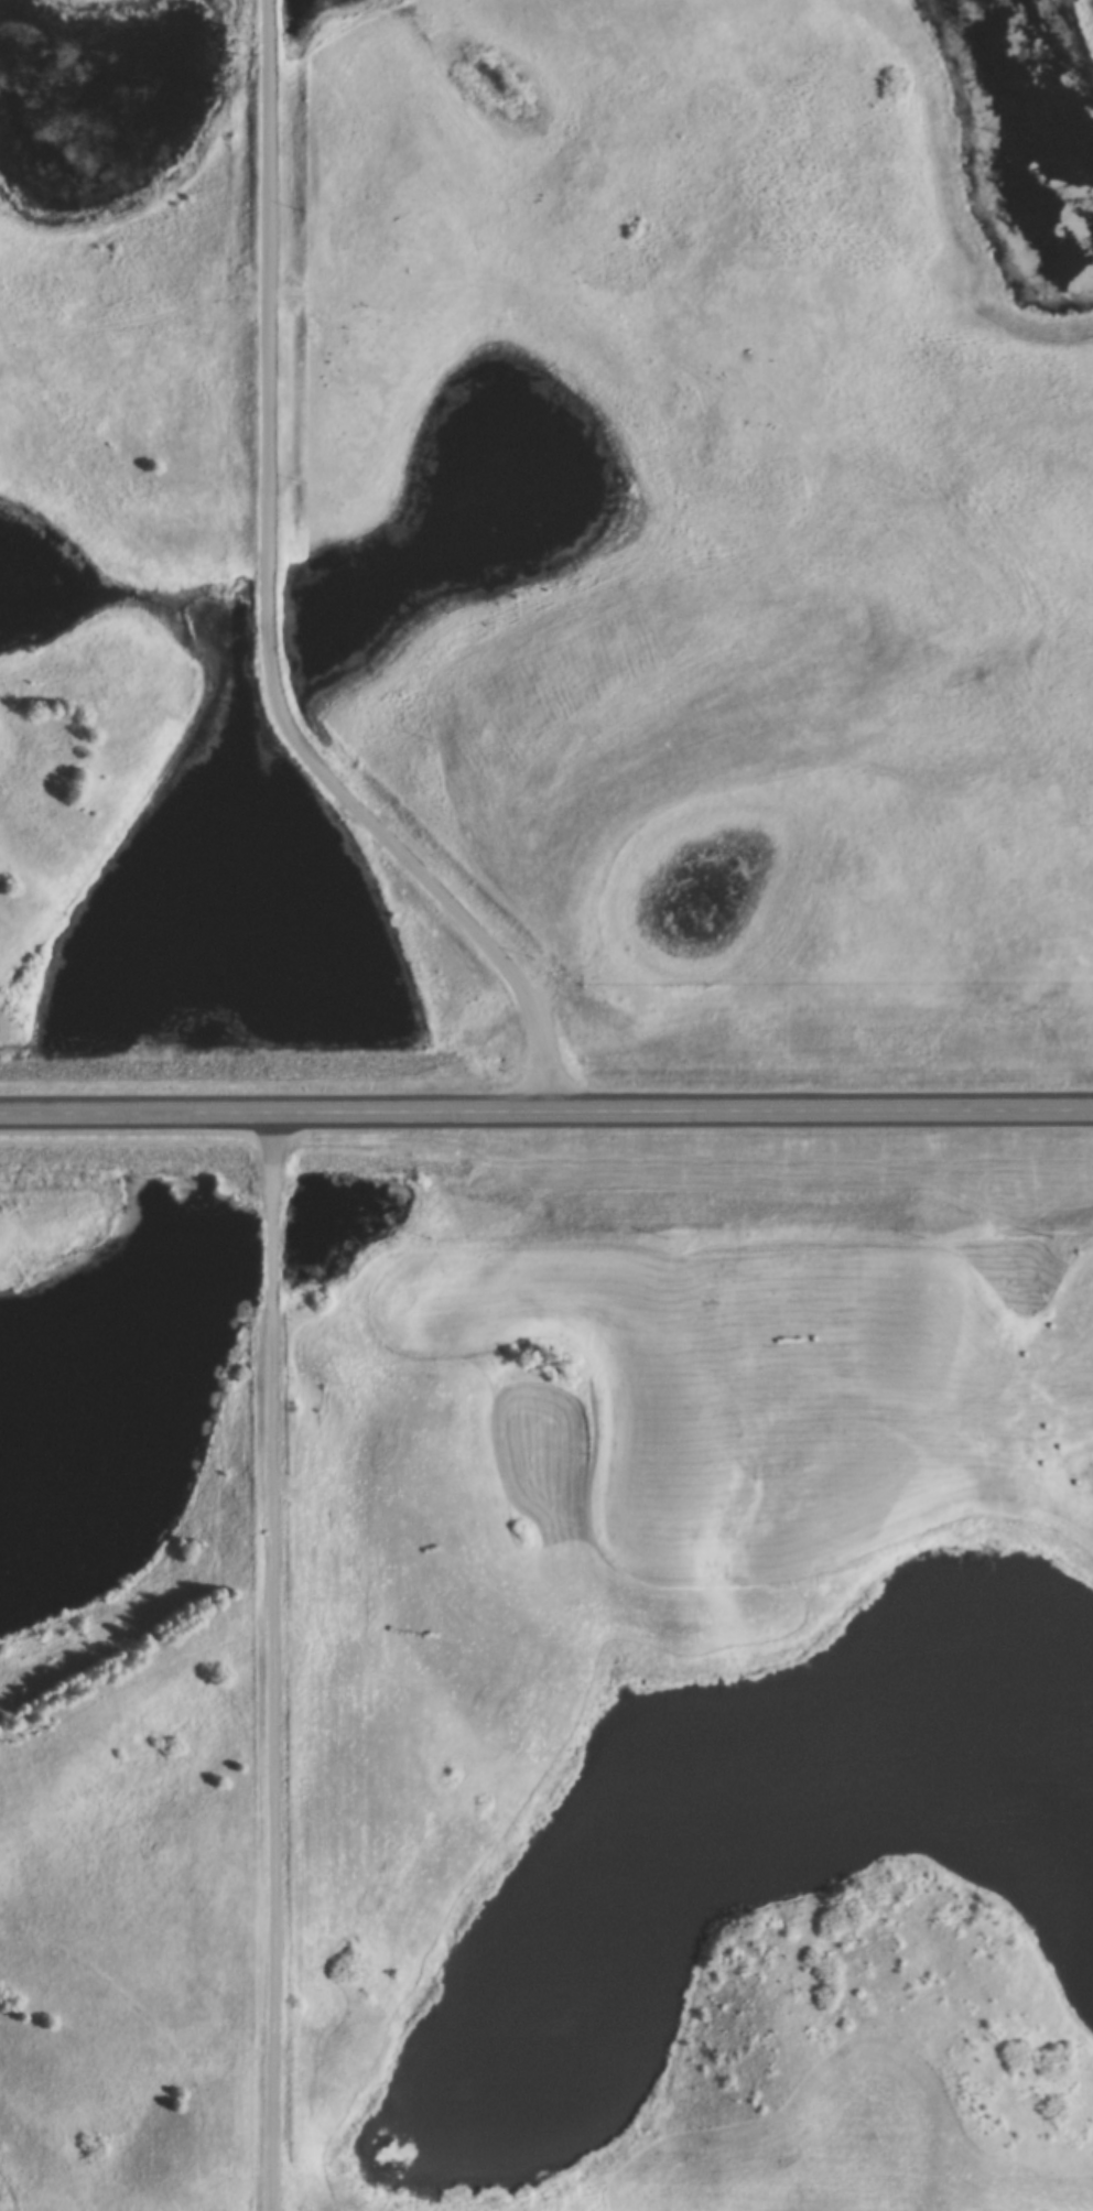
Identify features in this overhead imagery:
road: (270, 600)
road: (546, 1106)
road: (279, 1658)

